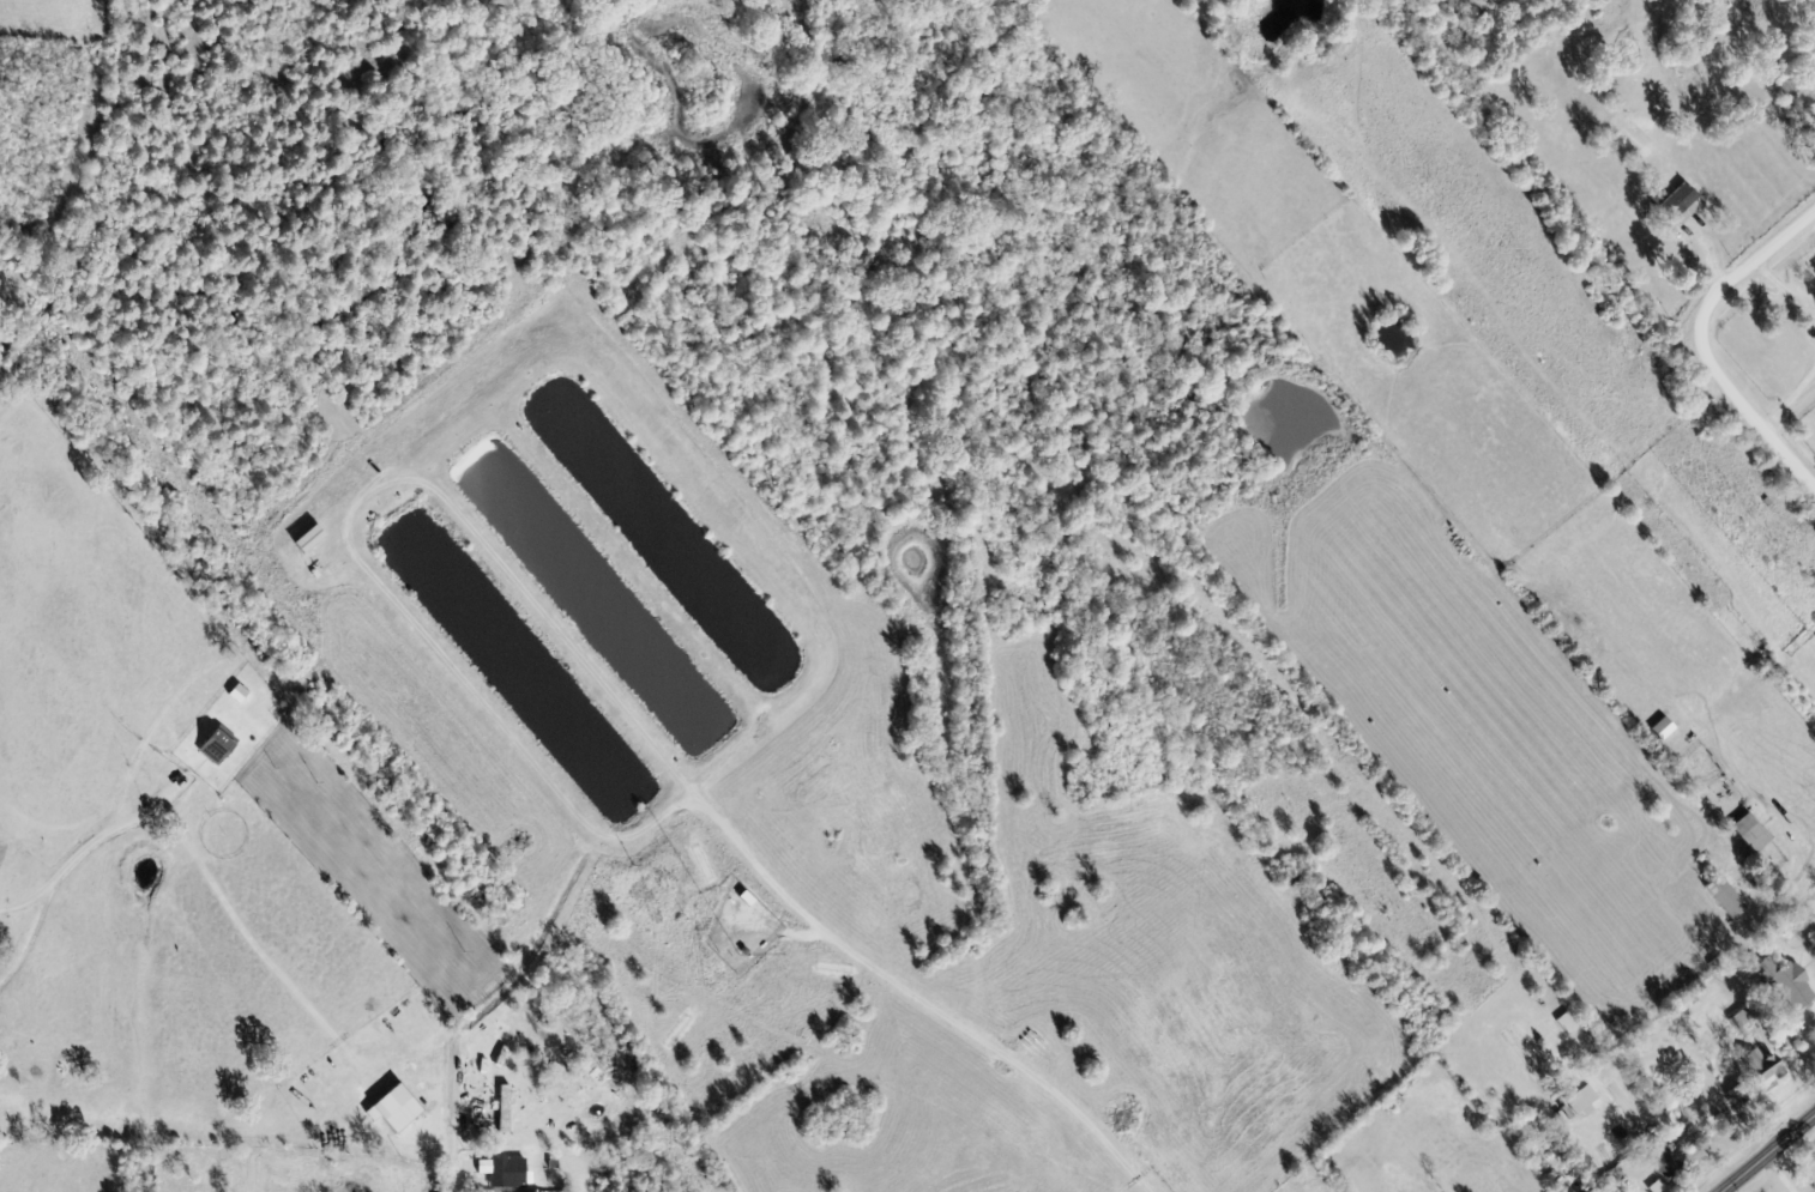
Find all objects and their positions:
building: (1678, 206)
road: (1698, 344)
railway: (127, 595)
building: (212, 733)
building: (1749, 835)
building: (1724, 897)
building: (1785, 984)
building: (1760, 1067)
building: (1580, 1100)
building: (504, 1109)
road: (1768, 1152)
road: (451, 1157)
building: (1659, 1160)
building: (493, 1173)

